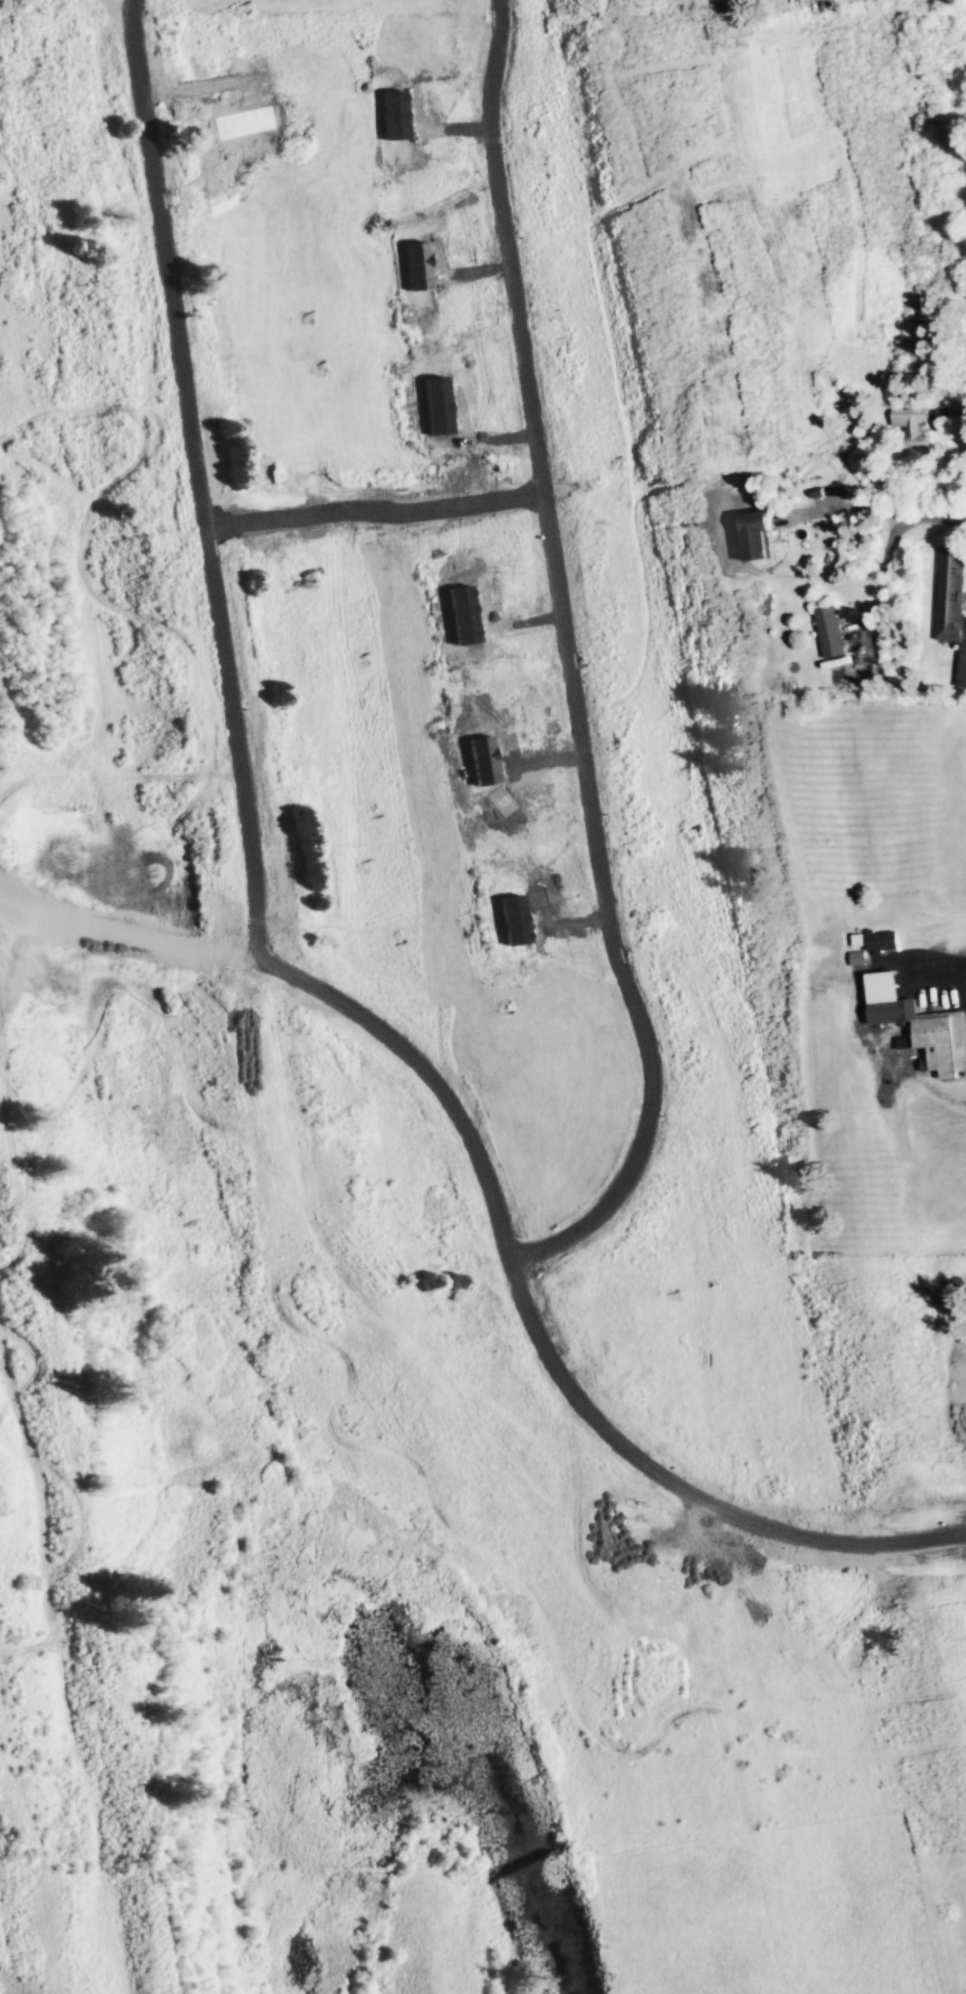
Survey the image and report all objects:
building: (827, 11)
building: (911, 426)
road: (900, 509)
building: (806, 527)
building: (952, 606)
building: (826, 631)
building: (879, 941)
building: (917, 1026)

